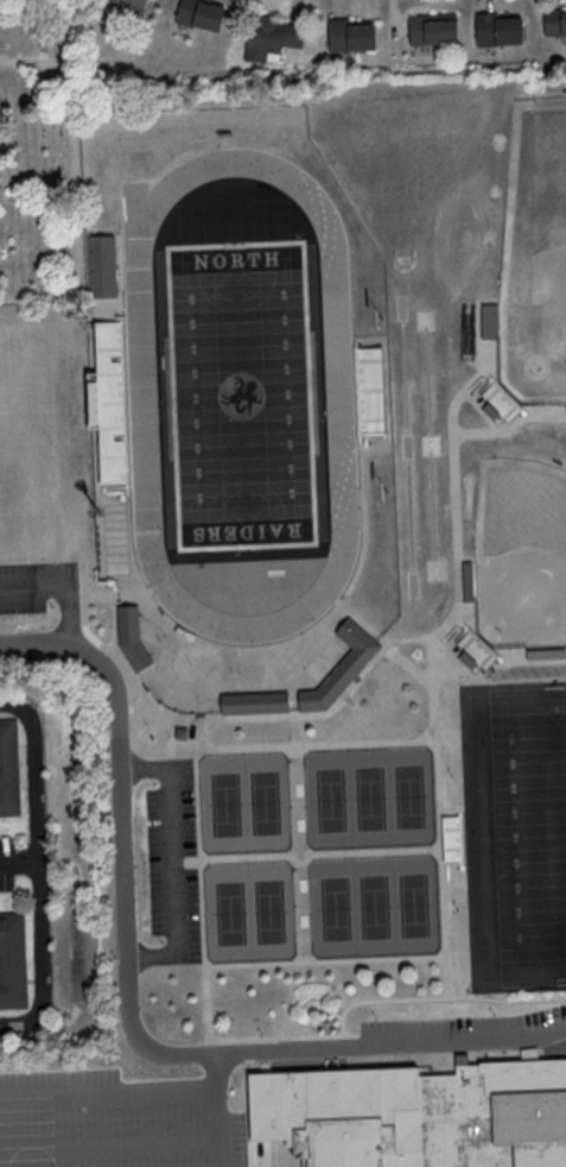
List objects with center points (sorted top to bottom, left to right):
building: (134, 2)
building: (199, 13)
building: (554, 21)
building: (431, 29)
building: (497, 29)
building: (349, 34)
park: (40, 157)
road: (75, 185)
park: (534, 258)
building: (100, 267)
building: (488, 320)
stadium: (368, 392)
park: (241, 395)
park: (241, 396)
park: (241, 396)
building: (497, 400)
building: (85, 402)
stadium: (495, 403)
stadium: (108, 404)
road: (491, 434)
road: (457, 529)
park: (521, 553)
parking lot: (39, 588)
road: (64, 588)
road: (102, 595)
road: (114, 625)
building: (131, 638)
stadium: (472, 650)
building: (545, 652)
road: (406, 663)
building: (341, 668)
road: (475, 676)
building: (254, 704)
building: (179, 734)
road: (155, 736)
road: (184, 752)
building: (9, 769)
road: (36, 790)
park: (414, 796)
park: (371, 799)
park: (329, 800)
park: (268, 803)
park: (225, 805)
road: (439, 818)
park: (529, 831)
road: (300, 832)
park: (515, 832)
stadium: (453, 841)
road: (307, 856)
parking lot: (172, 862)
road: (173, 862)
park: (419, 906)
park: (377, 908)
park: (335, 909)
park: (273, 911)
park: (230, 913)
building: (12, 961)
road: (325, 961)
road: (45, 963)
road: (206, 969)
road: (441, 999)
road: (317, 1005)
road: (129, 1015)
parking lot: (466, 1028)
road: (344, 1052)
road: (108, 1087)
road: (217, 1110)
building: (414, 1115)
parking lot: (112, 1119)
road: (109, 1138)
road: (291, 1165)

